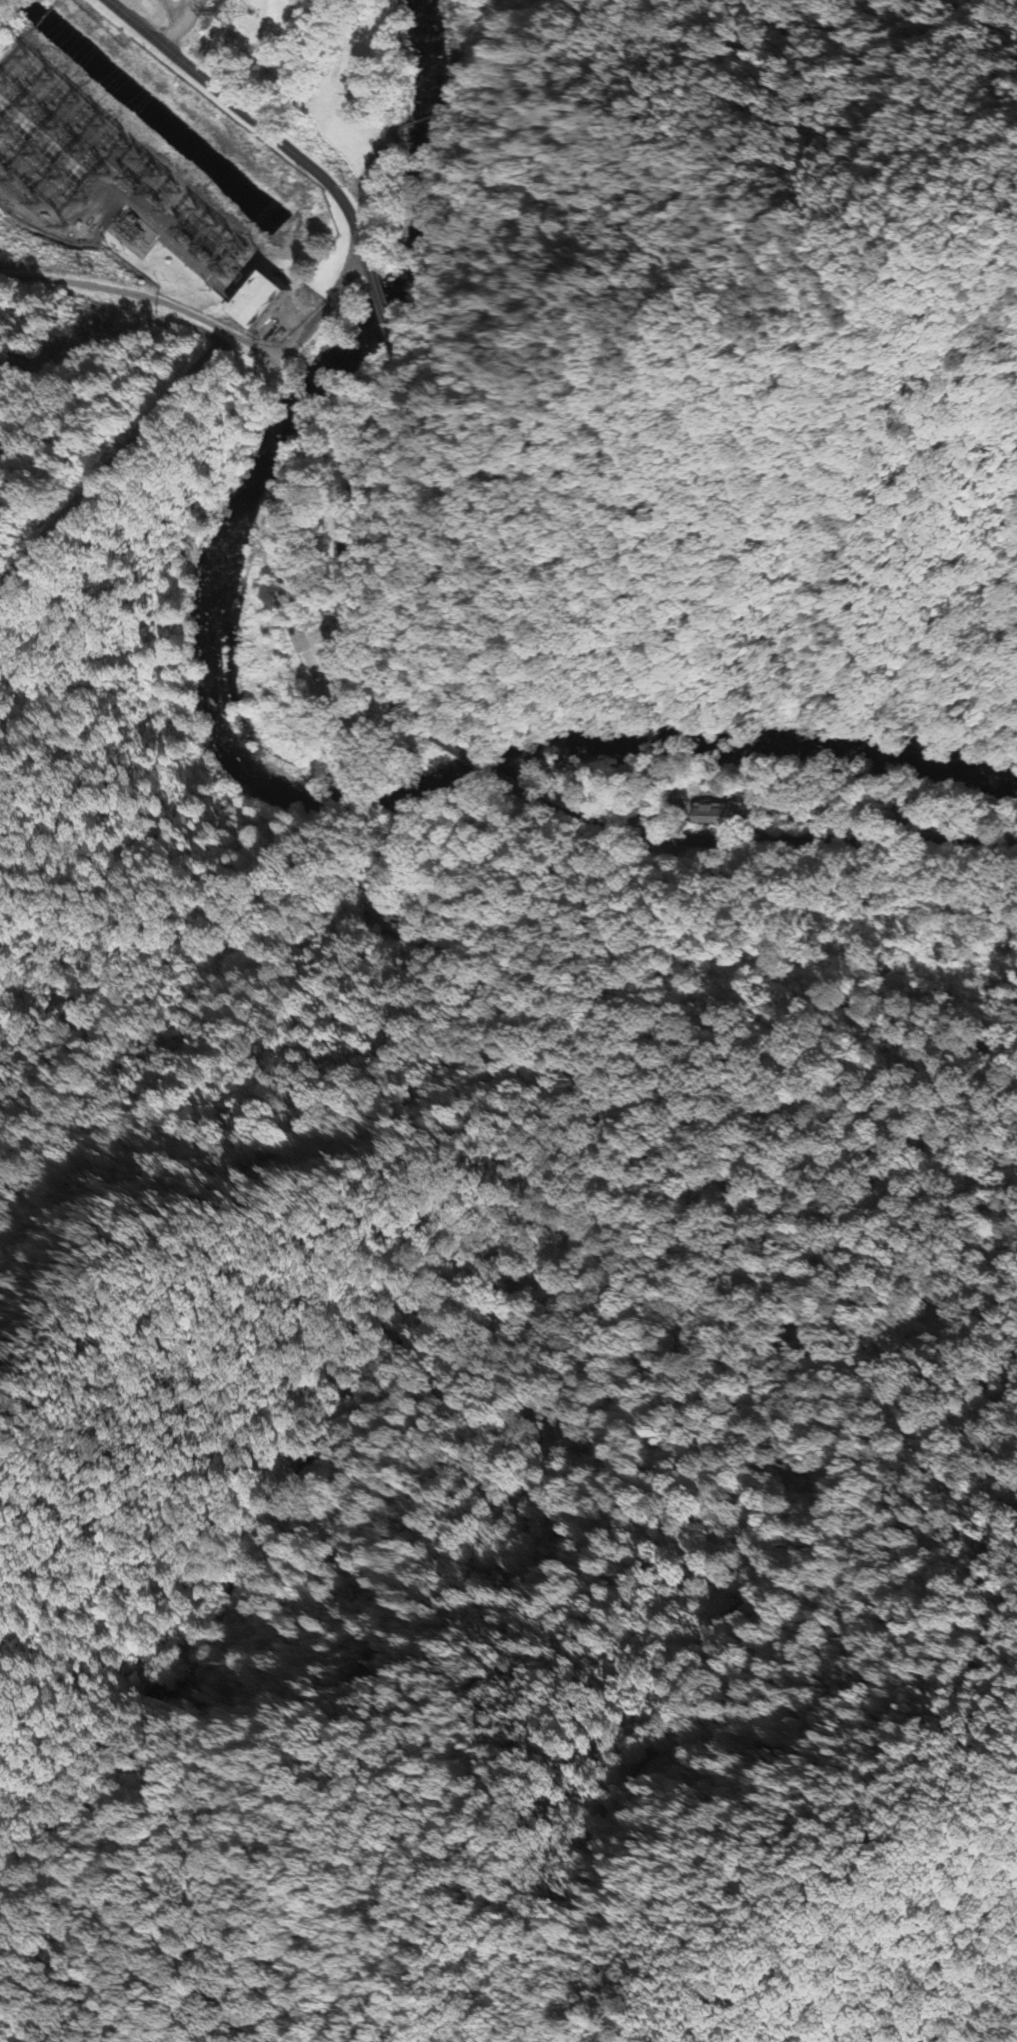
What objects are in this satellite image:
road: (168, 4)
parking lot: (168, 5)
road: (159, 12)
power tower: (232, 13)
power tower: (43, 64)
road: (253, 117)
power tower: (115, 139)
road: (380, 301)
building: (251, 305)
road: (209, 322)
road: (9, 366)
river: (259, 478)
road: (343, 564)
road: (281, 586)
parking lot: (320, 668)
road: (331, 681)
river: (735, 754)
road: (497, 775)
building: (713, 817)
road: (772, 841)

